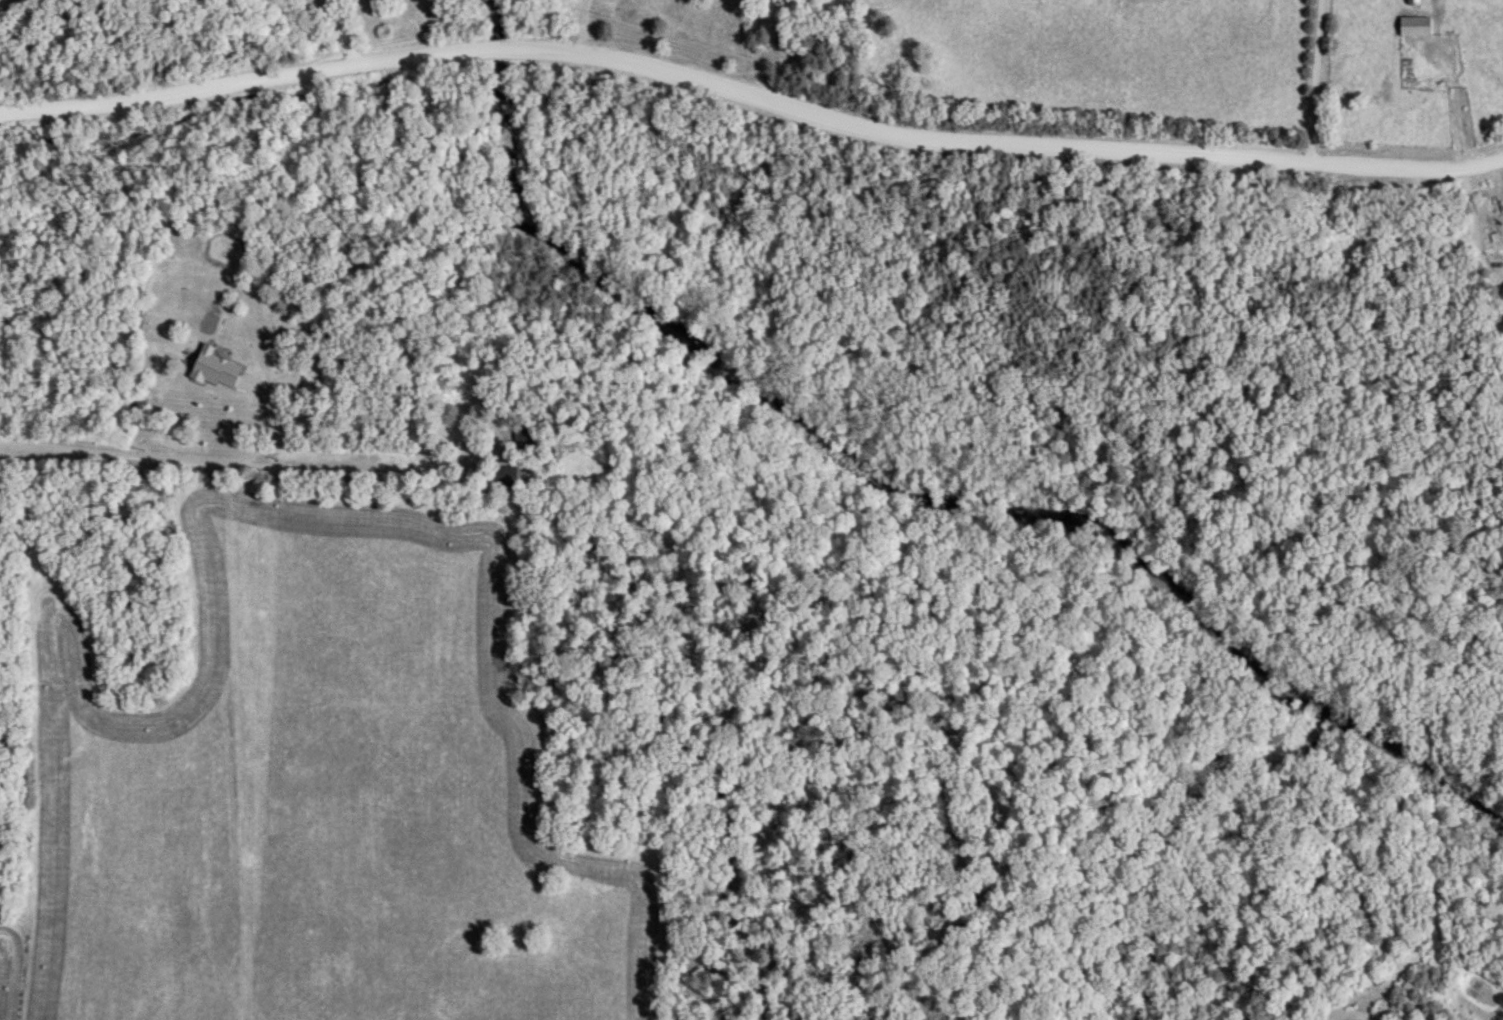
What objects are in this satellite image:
building: (1417, 26)
road: (584, 29)
road: (338, 34)
road: (1313, 83)
road: (751, 89)
building: (218, 370)
building: (526, 436)
road: (193, 461)
building: (508, 477)

